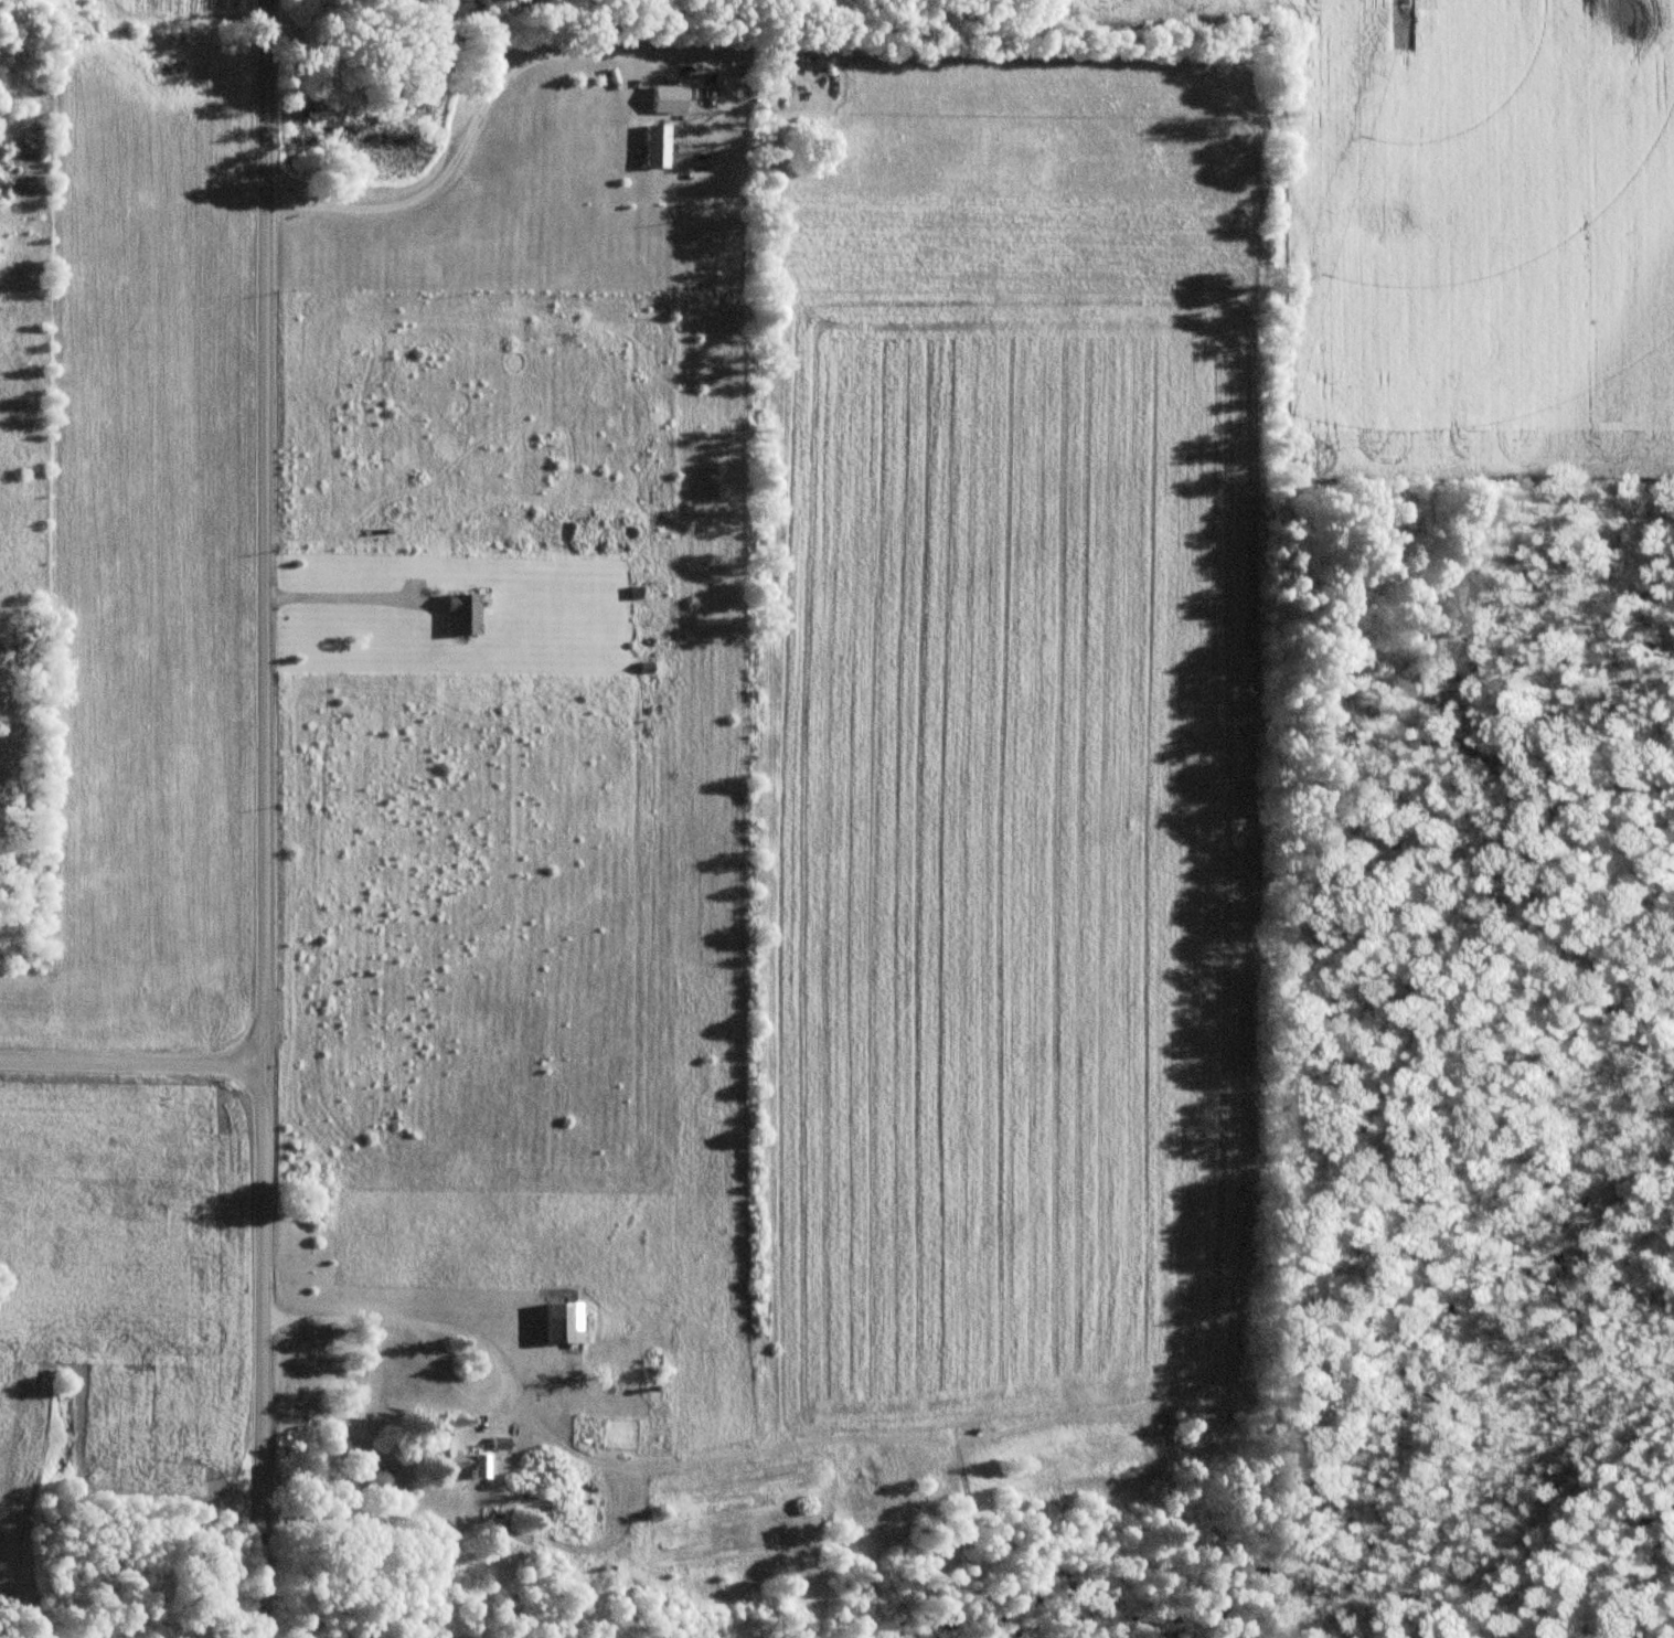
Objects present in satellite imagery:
road: (484, 99)
building: (669, 99)
building: (657, 147)
road: (349, 602)
building: (462, 615)
road: (260, 818)
road: (131, 1061)
building: (559, 1323)
road: (465, 1328)
building: (498, 1445)
building: (458, 1461)

